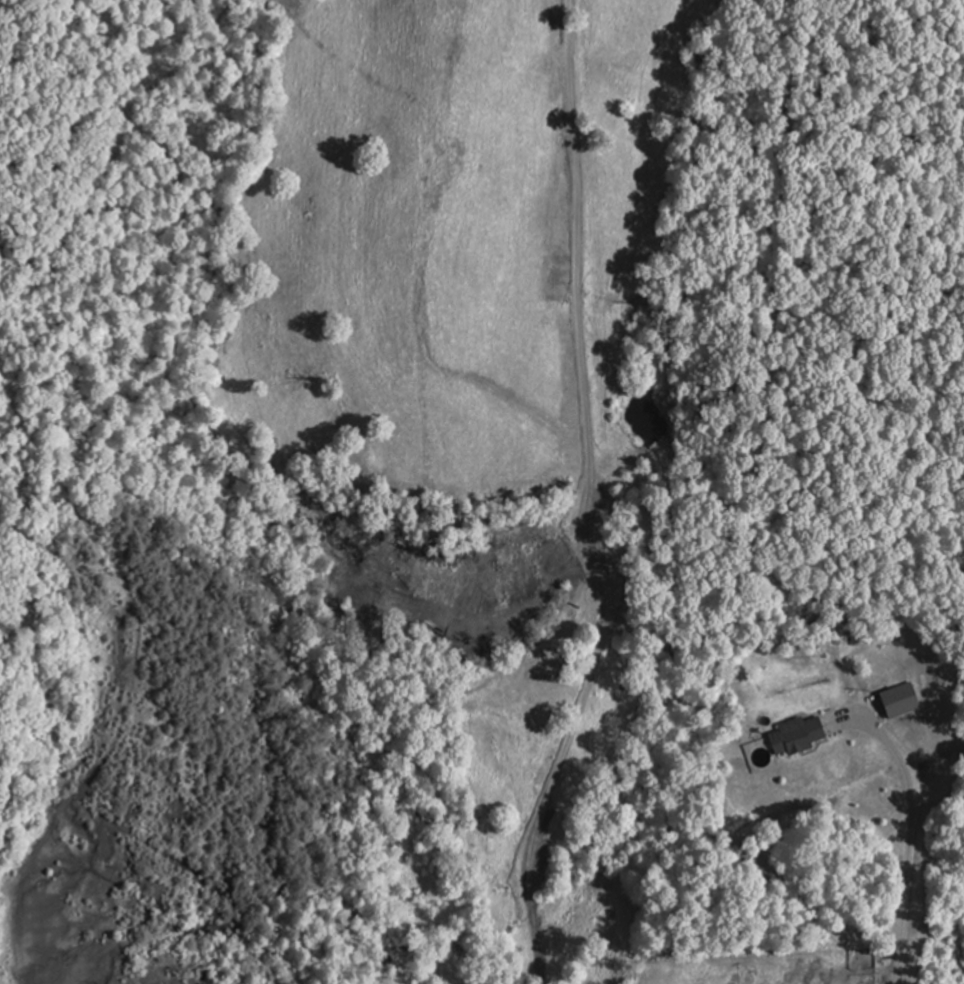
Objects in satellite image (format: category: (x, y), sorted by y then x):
building: (800, 734)
road: (909, 843)

